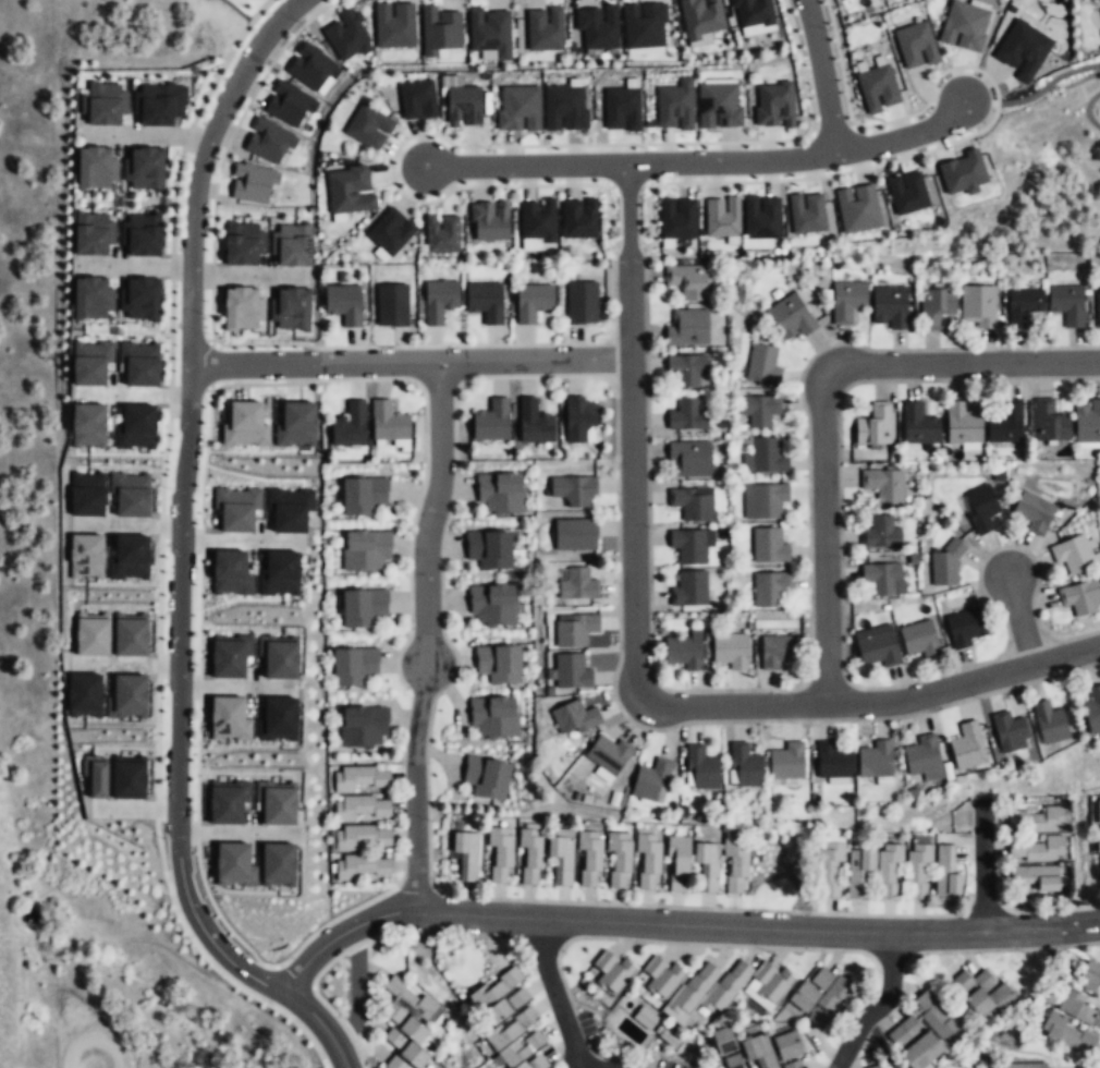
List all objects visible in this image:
building: (839, 0)
park: (249, 5)
building: (1099, 11)
building: (751, 12)
building: (701, 19)
building: (597, 26)
building: (964, 26)
building: (394, 27)
building: (644, 27)
building: (545, 28)
building: (440, 31)
building: (490, 32)
building: (346, 35)
building: (915, 47)
building: (1023, 49)
road: (840, 62)
road: (225, 63)
road: (800, 64)
building: (313, 69)
road: (821, 75)
road: (1048, 83)
road: (932, 85)
building: (877, 89)
building: (417, 101)
building: (159, 104)
building: (102, 105)
building: (774, 105)
building: (463, 106)
building: (697, 106)
building: (517, 107)
building: (564, 107)
building: (272, 109)
building: (621, 109)
road: (1087, 109)
road: (234, 123)
building: (368, 128)
road: (832, 131)
road: (145, 135)
building: (267, 142)
road: (701, 160)
building: (95, 168)
building: (144, 169)
building: (963, 172)
building: (250, 184)
road: (489, 185)
building: (349, 191)
building: (907, 194)
road: (172, 198)
building: (857, 210)
road: (628, 213)
building: (807, 214)
building: (579, 217)
building: (722, 217)
building: (677, 218)
building: (537, 219)
building: (761, 220)
building: (489, 221)
building: (391, 233)
building: (93, 234)
building: (140, 234)
building: (441, 234)
building: (243, 243)
building: (291, 245)
road: (132, 266)
road: (250, 275)
building: (686, 281)
building: (91, 298)
building: (140, 299)
building: (844, 299)
building: (438, 301)
building: (485, 301)
building: (533, 302)
building: (343, 303)
building: (583, 303)
building: (976, 304)
building: (1066, 304)
building: (392, 305)
building: (888, 305)
building: (933, 305)
building: (1023, 306)
building: (1097, 307)
building: (242, 308)
building: (292, 310)
building: (789, 315)
building: (685, 326)
flagpole: (451, 329)
road: (169, 331)
street lamp: (1005, 343)
road: (235, 349)
road: (411, 362)
building: (89, 363)
building: (139, 363)
building: (760, 364)
building: (684, 367)
street lamp: (796, 385)
road: (131, 393)
road: (822, 399)
building: (758, 408)
building: (684, 414)
building: (579, 417)
building: (491, 421)
building: (1048, 421)
building: (534, 422)
building: (1003, 422)
building: (1086, 422)
building: (390, 424)
building: (872, 424)
building: (87, 425)
building: (244, 425)
building: (295, 425)
building: (350, 425)
building: (917, 425)
building: (961, 425)
building: (135, 427)
building: (762, 456)
building: (687, 457)
road: (167, 464)
road: (616, 465)
building: (997, 476)
building: (882, 484)
building: (575, 490)
building: (501, 493)
building: (86, 494)
building: (130, 494)
building: (362, 495)
road: (182, 499)
building: (765, 499)
building: (689, 501)
building: (977, 507)
building: (236, 508)
building: (289, 509)
building: (1031, 510)
road: (431, 512)
road: (126, 525)
building: (878, 532)
building: (576, 533)
road: (243, 541)
building: (692, 544)
building: (770, 545)
building: (489, 549)
building: (364, 550)
building: (1071, 553)
building: (86, 555)
building: (127, 557)
street lamp: (845, 559)
building: (943, 562)
building: (229, 572)
building: (276, 572)
building: (880, 575)
building: (578, 583)
building: (690, 588)
building: (770, 588)
building: (1078, 596)
building: (492, 605)
building: (362, 607)
road: (1020, 618)
building: (962, 627)
building: (575, 628)
building: (91, 634)
building: (130, 635)
road: (651, 635)
road: (842, 635)
building: (917, 638)
road: (1027, 640)
building: (875, 645)
building: (731, 647)
building: (685, 648)
building: (779, 650)
building: (227, 655)
building: (276, 656)
building: (498, 665)
building: (354, 667)
building: (572, 670)
road: (827, 677)
road: (241, 689)
building: (84, 693)
street lamp: (610, 694)
building: (127, 695)
road: (655, 705)
building: (1091, 708)
building: (575, 716)
building: (224, 718)
building: (273, 718)
building: (492, 718)
building: (1047, 721)
building: (363, 725)
building: (1006, 730)
building: (965, 745)
building: (609, 753)
building: (921, 757)
building: (787, 761)
building: (873, 761)
building: (830, 762)
building: (747, 764)
building: (702, 766)
building: (95, 775)
building: (129, 777)
building: (362, 777)
building: (486, 778)
building: (651, 778)
road: (416, 787)
building: (225, 800)
building: (272, 803)
building: (362, 808)
building: (1098, 812)
building: (1038, 822)
road: (152, 834)
building: (360, 838)
building: (1099, 838)
building: (1036, 851)
building: (500, 854)
building: (465, 855)
building: (531, 855)
building: (589, 860)
building: (619, 860)
building: (562, 861)
building: (676, 861)
building: (649, 862)
building: (232, 863)
building: (273, 863)
building: (706, 864)
building: (734, 864)
building: (360, 869)
road: (983, 871)
building: (843, 872)
building: (889, 872)
building: (917, 873)
building: (945, 874)
building: (1036, 878)
road: (676, 924)
building: (610, 974)
building: (1088, 974)
building: (661, 978)
building: (768, 986)
building: (707, 990)
building: (981, 994)
building: (820, 997)
building: (413, 1000)
road: (558, 1000)
road: (877, 1005)
building: (1078, 1007)
building: (508, 1018)
building: (645, 1019)
road: (320, 1022)
building: (1065, 1031)
building: (925, 1032)
building: (668, 1039)
building: (404, 1040)
building: (785, 1042)
road: (881, 1045)
building: (757, 1052)
building: (534, 1061)
building: (733, 1061)
building: (792, 1065)
building: (1022, 1065)
building: (875, 1066)

